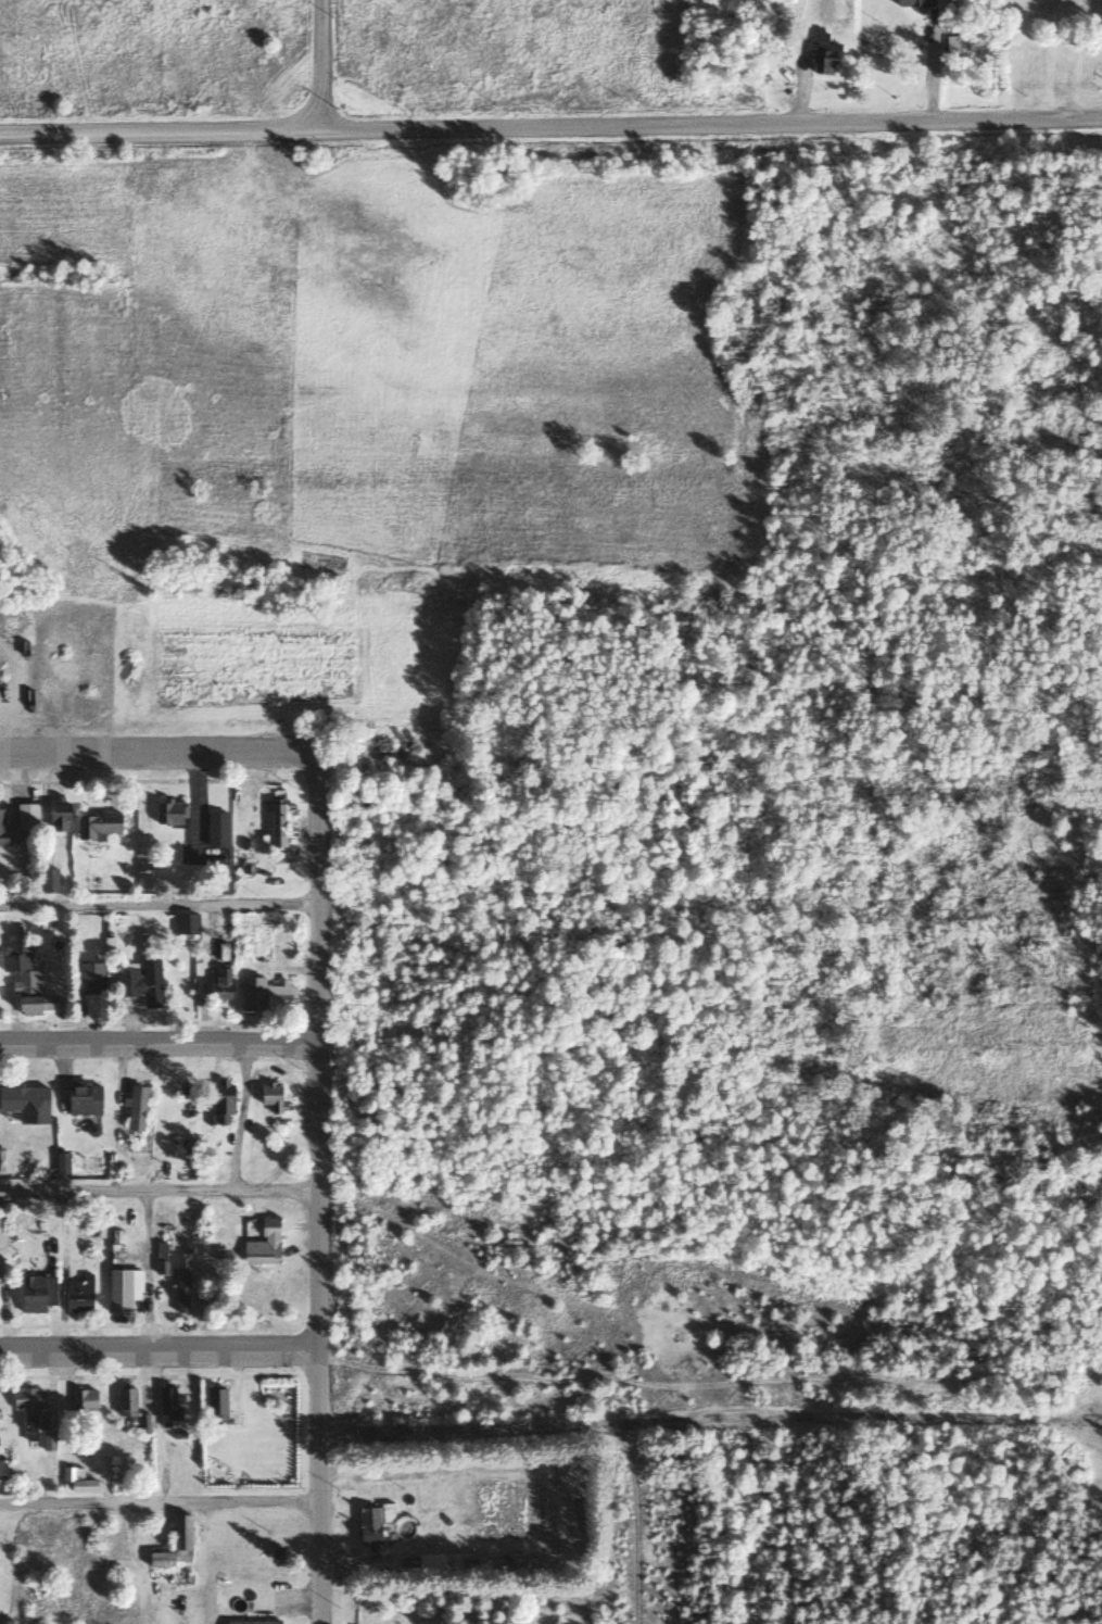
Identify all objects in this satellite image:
building: (915, 3)
building: (825, 58)
road: (317, 65)
road: (709, 123)
road: (159, 133)
road: (152, 753)
building: (170, 814)
building: (27, 818)
building: (59, 818)
building: (277, 826)
building: (1, 827)
building: (99, 827)
building: (216, 831)
building: (48, 881)
road: (157, 905)
building: (25, 978)
building: (91, 978)
building: (142, 981)
building: (219, 986)
building: (266, 996)
road: (156, 1043)
building: (271, 1096)
building: (84, 1097)
building: (223, 1097)
building: (26, 1104)
building: (137, 1107)
road: (315, 1189)
road: (157, 1192)
building: (264, 1245)
building: (181, 1285)
building: (123, 1288)
building: (36, 1293)
building: (79, 1296)
road: (156, 1350)
building: (84, 1400)
building: (126, 1402)
building: (168, 1403)
building: (216, 1406)
building: (35, 1417)
road: (708, 1421)
building: (76, 1481)
road: (157, 1502)
building: (369, 1526)
road: (805, 1534)
building: (181, 1538)
building: (28, 1608)
building: (253, 1622)

